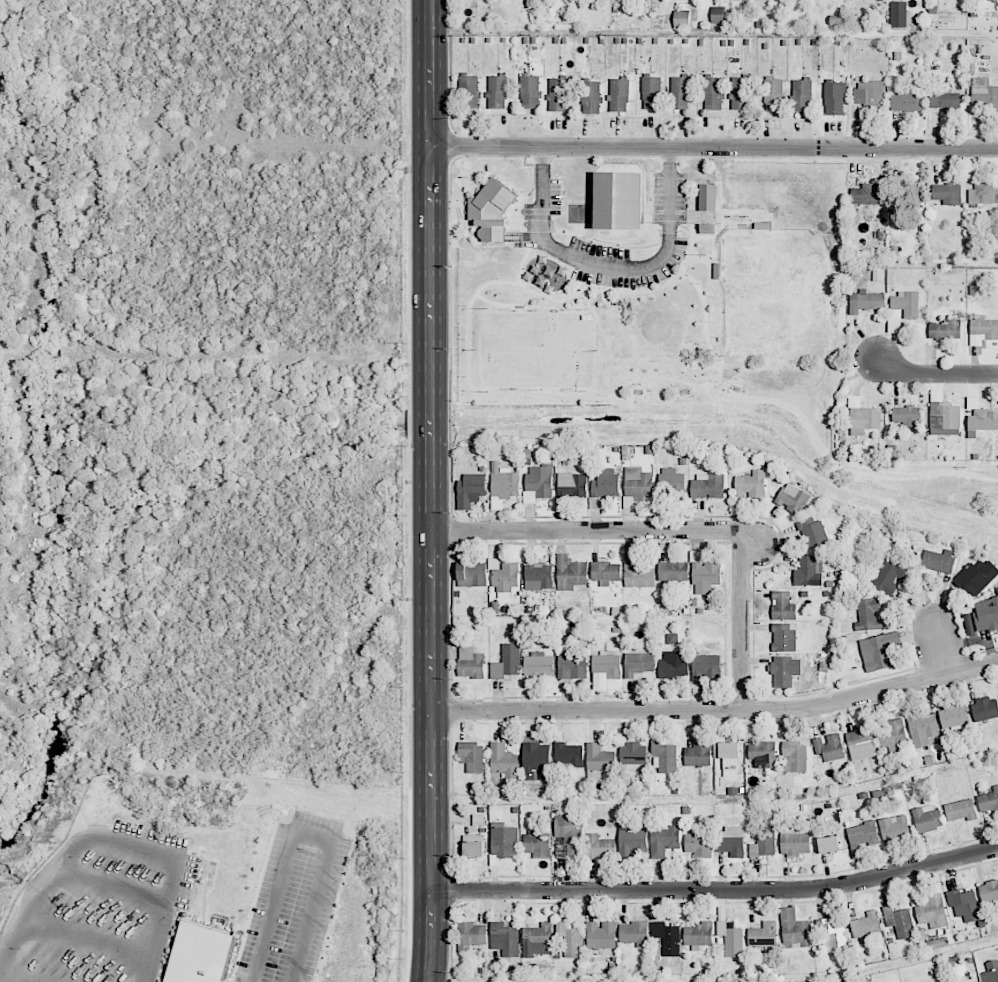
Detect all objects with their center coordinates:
building: (718, 14)
building: (898, 14)
building: (681, 18)
building: (497, 91)
building: (529, 91)
building: (469, 92)
building: (651, 92)
building: (712, 92)
building: (679, 93)
building: (740, 93)
building: (558, 94)
building: (985, 94)
building: (619, 95)
building: (773, 95)
building: (800, 95)
building: (869, 95)
building: (591, 97)
building: (834, 98)
building: (944, 99)
building: (906, 101)
road: (713, 147)
building: (947, 193)
building: (866, 194)
building: (983, 194)
building: (914, 195)
building: (707, 196)
building: (618, 200)
park: (618, 200)
building: (490, 210)
park: (580, 213)
building: (707, 228)
parking lot: (543, 229)
road: (525, 258)
road: (609, 266)
park: (774, 282)
building: (866, 301)
building: (906, 303)
park: (676, 319)
building: (945, 329)
road: (705, 331)
building: (983, 331)
park: (535, 349)
road: (933, 374)
road: (553, 395)
building: (943, 415)
building: (907, 416)
building: (863, 418)
building: (983, 420)
building: (537, 482)
building: (637, 482)
building: (671, 482)
building: (605, 483)
building: (502, 485)
building: (571, 485)
building: (750, 485)
building: (707, 486)
building: (470, 490)
road: (428, 491)
building: (792, 498)
building: (812, 532)
road: (585, 534)
building: (938, 560)
building: (672, 571)
building: (809, 571)
building: (570, 572)
building: (605, 573)
building: (472, 574)
building: (704, 574)
building: (890, 574)
building: (538, 576)
building: (638, 576)
building: (976, 577)
building: (505, 579)
building: (782, 606)
building: (986, 614)
building: (869, 615)
road: (742, 621)
building: (783, 637)
road: (940, 648)
building: (878, 651)
building: (507, 662)
building: (470, 663)
building: (638, 663)
building: (538, 664)
building: (706, 664)
building: (673, 665)
building: (571, 666)
building: (784, 671)
building: (985, 709)
road: (715, 712)
building: (954, 716)
building: (922, 729)
building: (893, 735)
building: (859, 739)
building: (829, 747)
building: (633, 753)
building: (698, 754)
building: (762, 754)
building: (534, 755)
building: (568, 755)
building: (472, 756)
building: (728, 757)
building: (794, 757)
building: (664, 758)
building: (503, 760)
building: (598, 761)
building: (988, 801)
building: (960, 810)
building: (926, 818)
building: (894, 828)
building: (569, 833)
building: (862, 834)
road: (306, 836)
building: (504, 840)
building: (631, 840)
building: (663, 840)
building: (731, 841)
building: (764, 842)
building: (794, 842)
building: (537, 843)
road: (113, 844)
building: (698, 844)
building: (828, 844)
building: (473, 845)
building: (600, 847)
road: (714, 891)
building: (988, 891)
building: (964, 904)
building: (932, 912)
building: (899, 922)
building: (865, 926)
building: (795, 930)
building: (633, 933)
building: (697, 934)
building: (763, 934)
building: (472, 935)
building: (538, 935)
building: (601, 935)
building: (832, 936)
building: (506, 937)
building: (667, 938)
building: (570, 940)
building: (199, 954)
building: (991, 972)
road: (9, 979)

